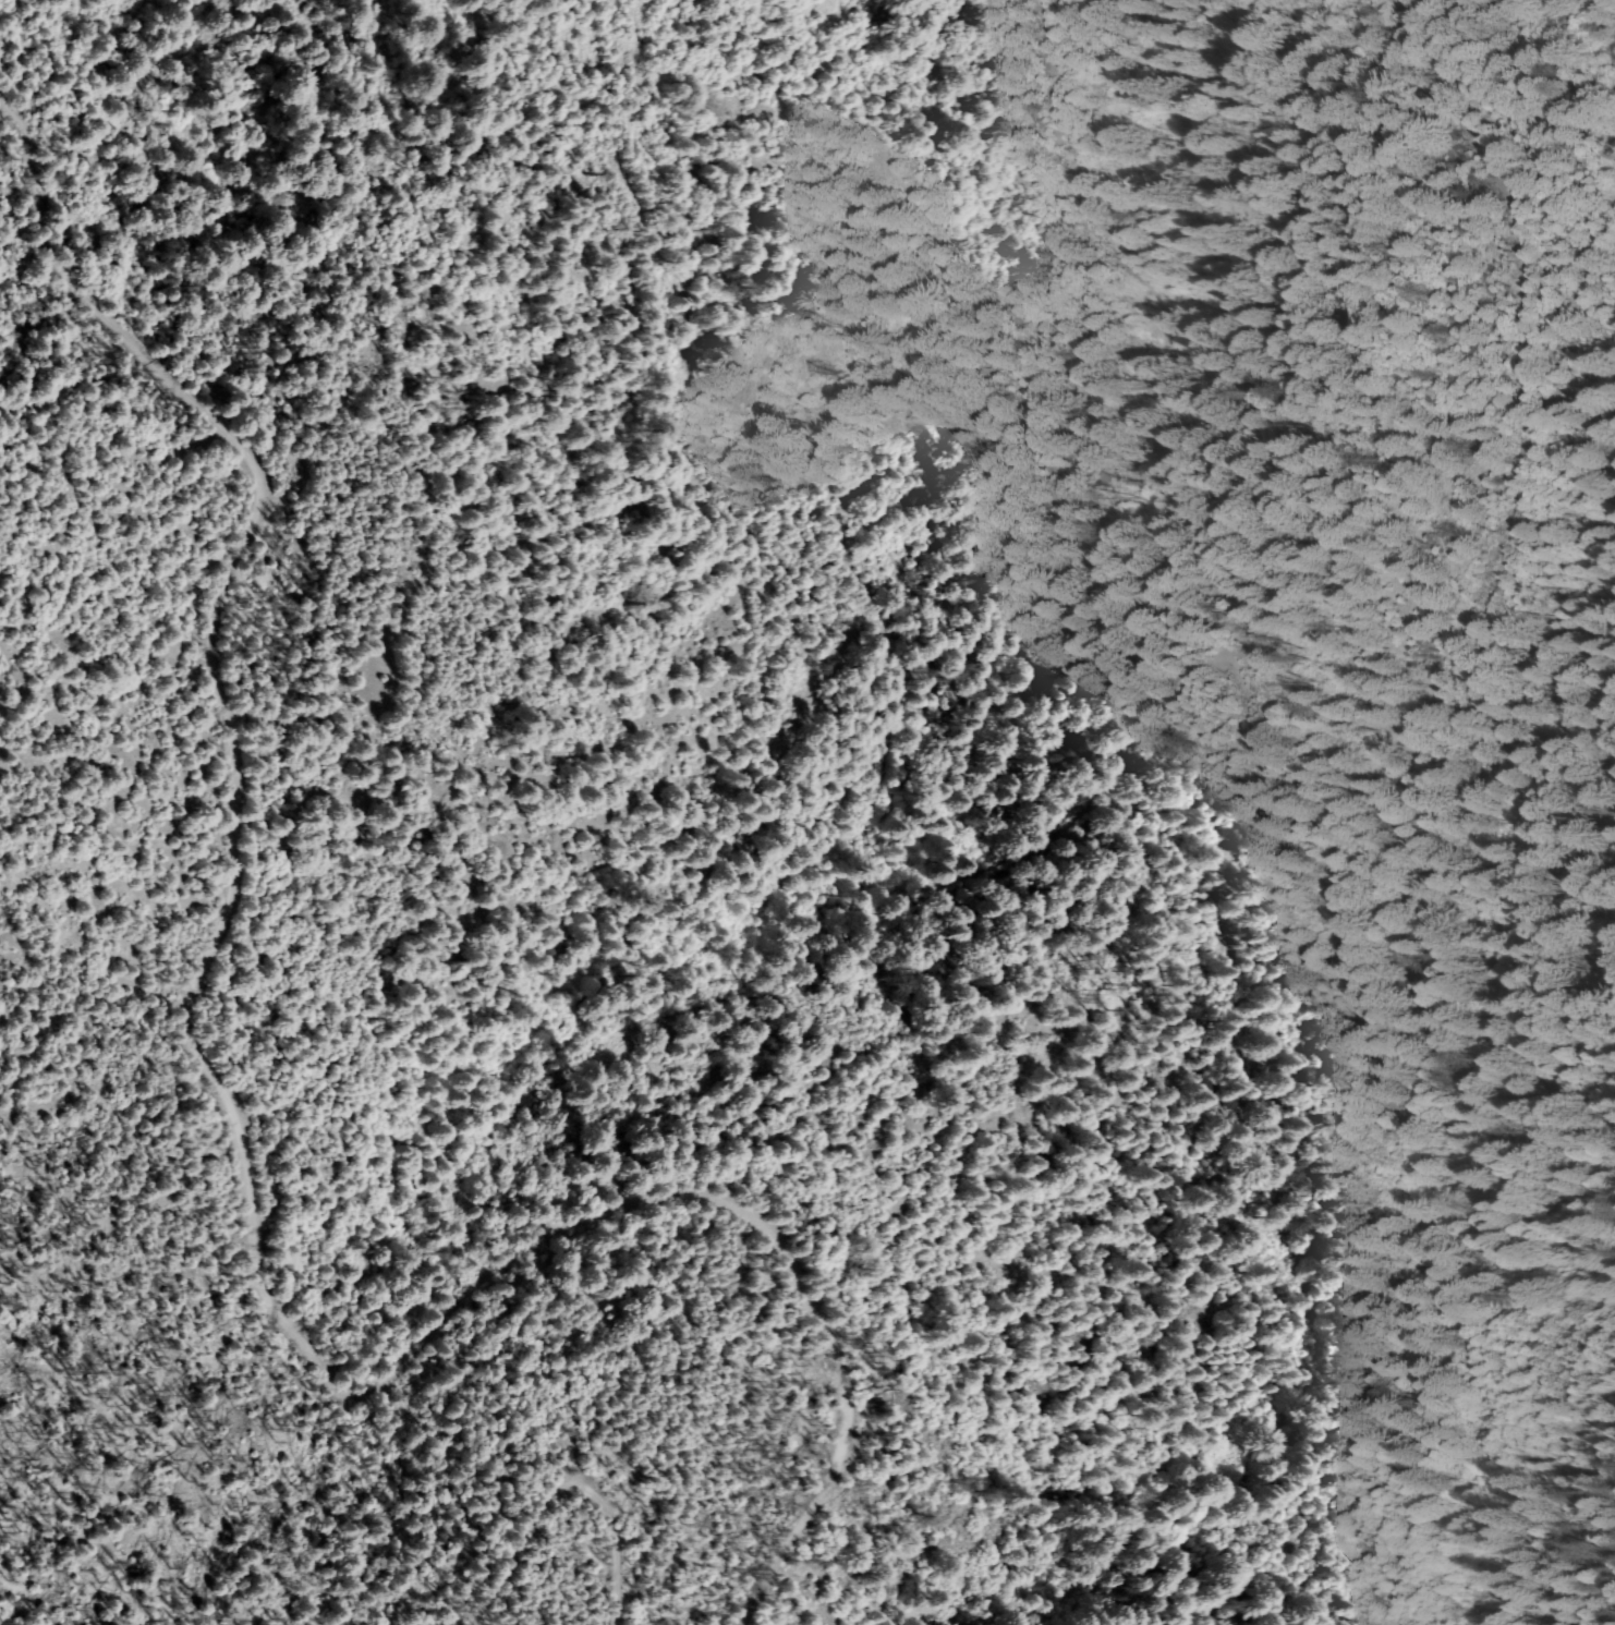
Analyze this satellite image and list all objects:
road: (247, 1167)

